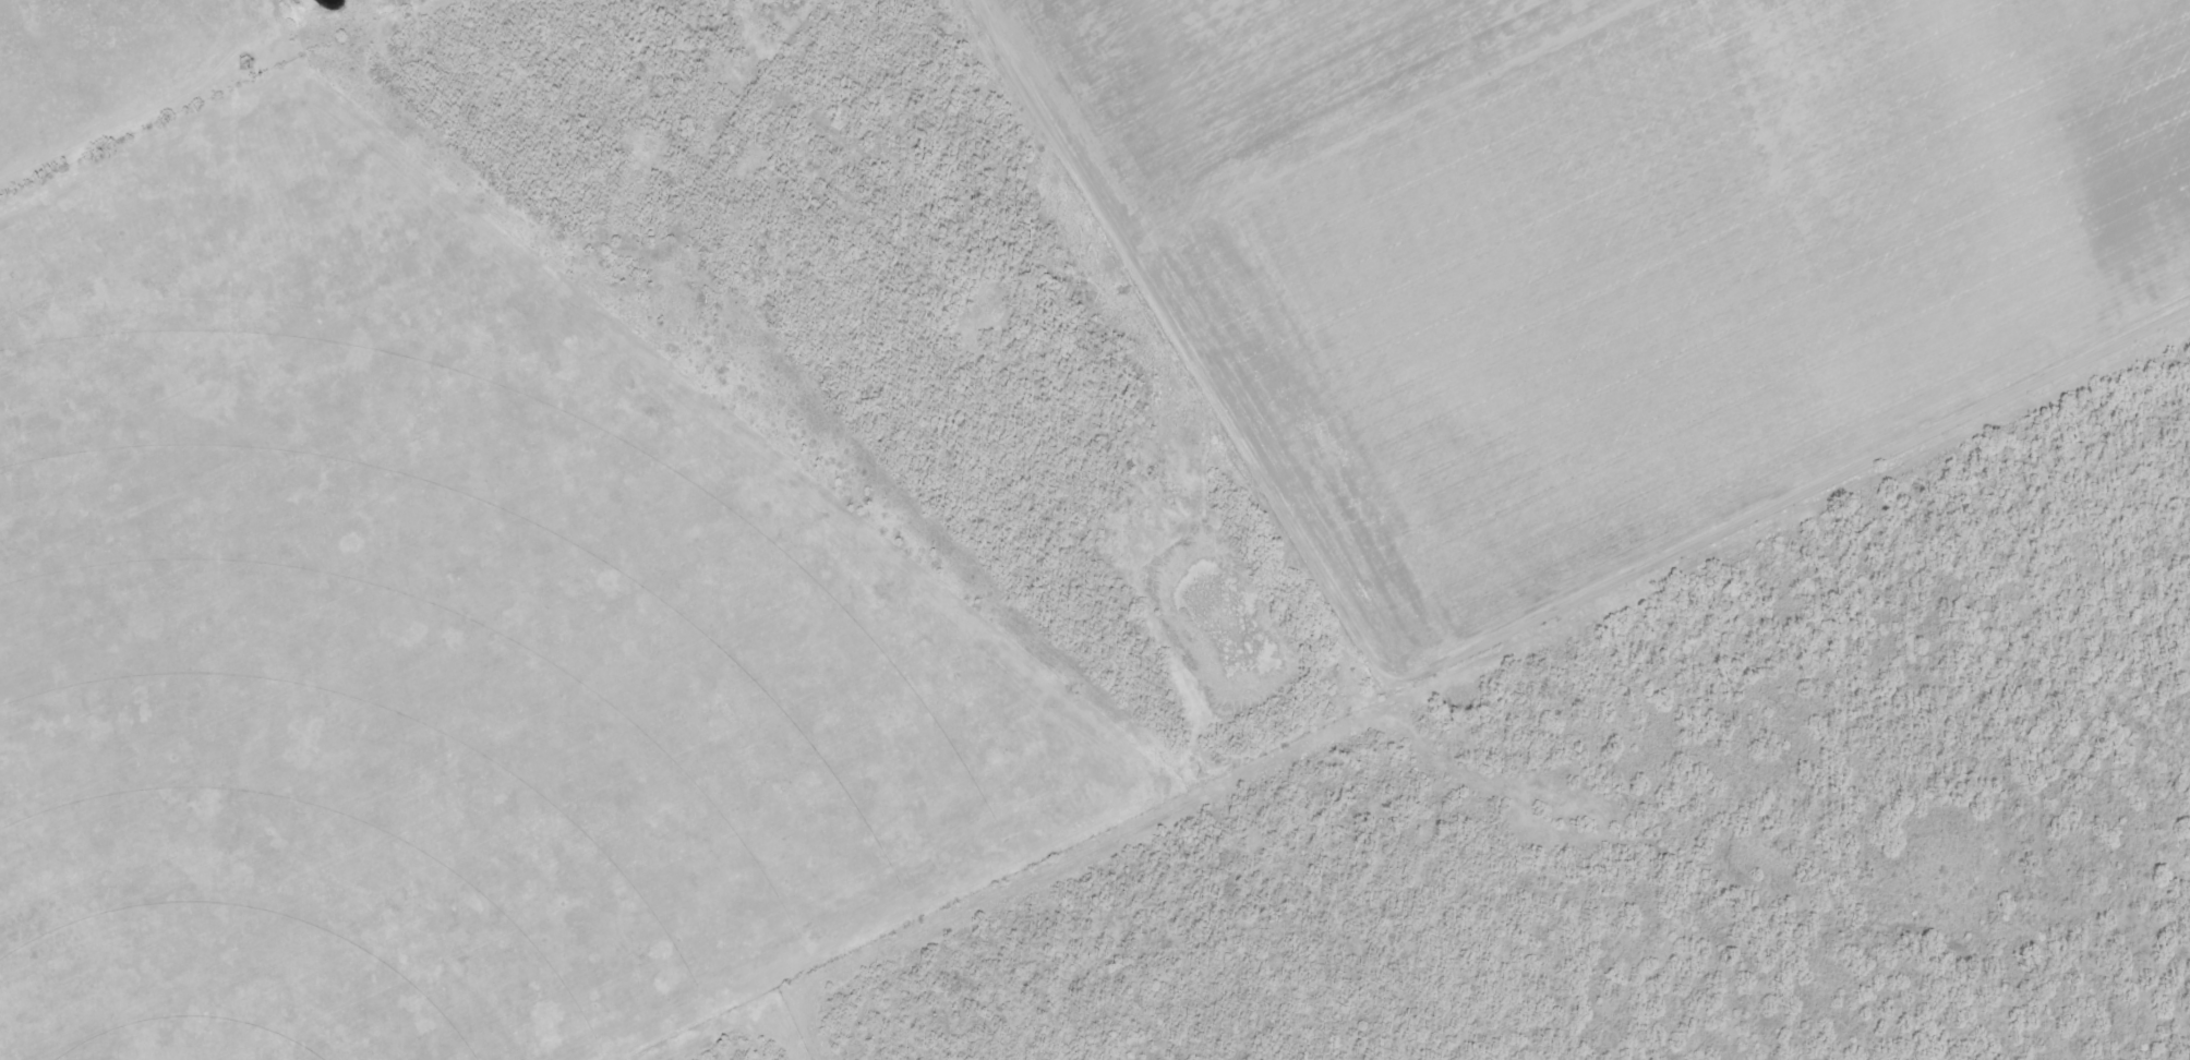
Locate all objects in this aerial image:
road: (763, 72)
road: (791, 1027)

